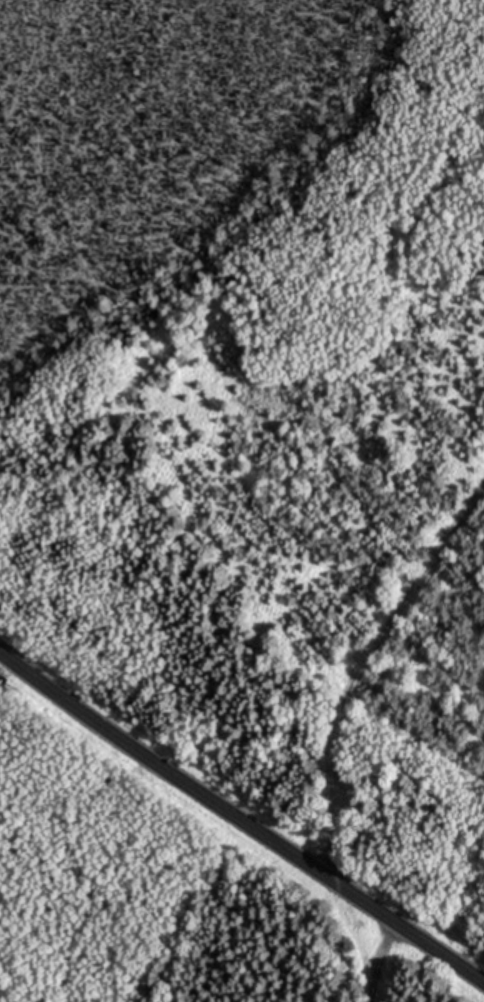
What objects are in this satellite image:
road: (357, 660)
road: (241, 817)
road: (373, 958)

